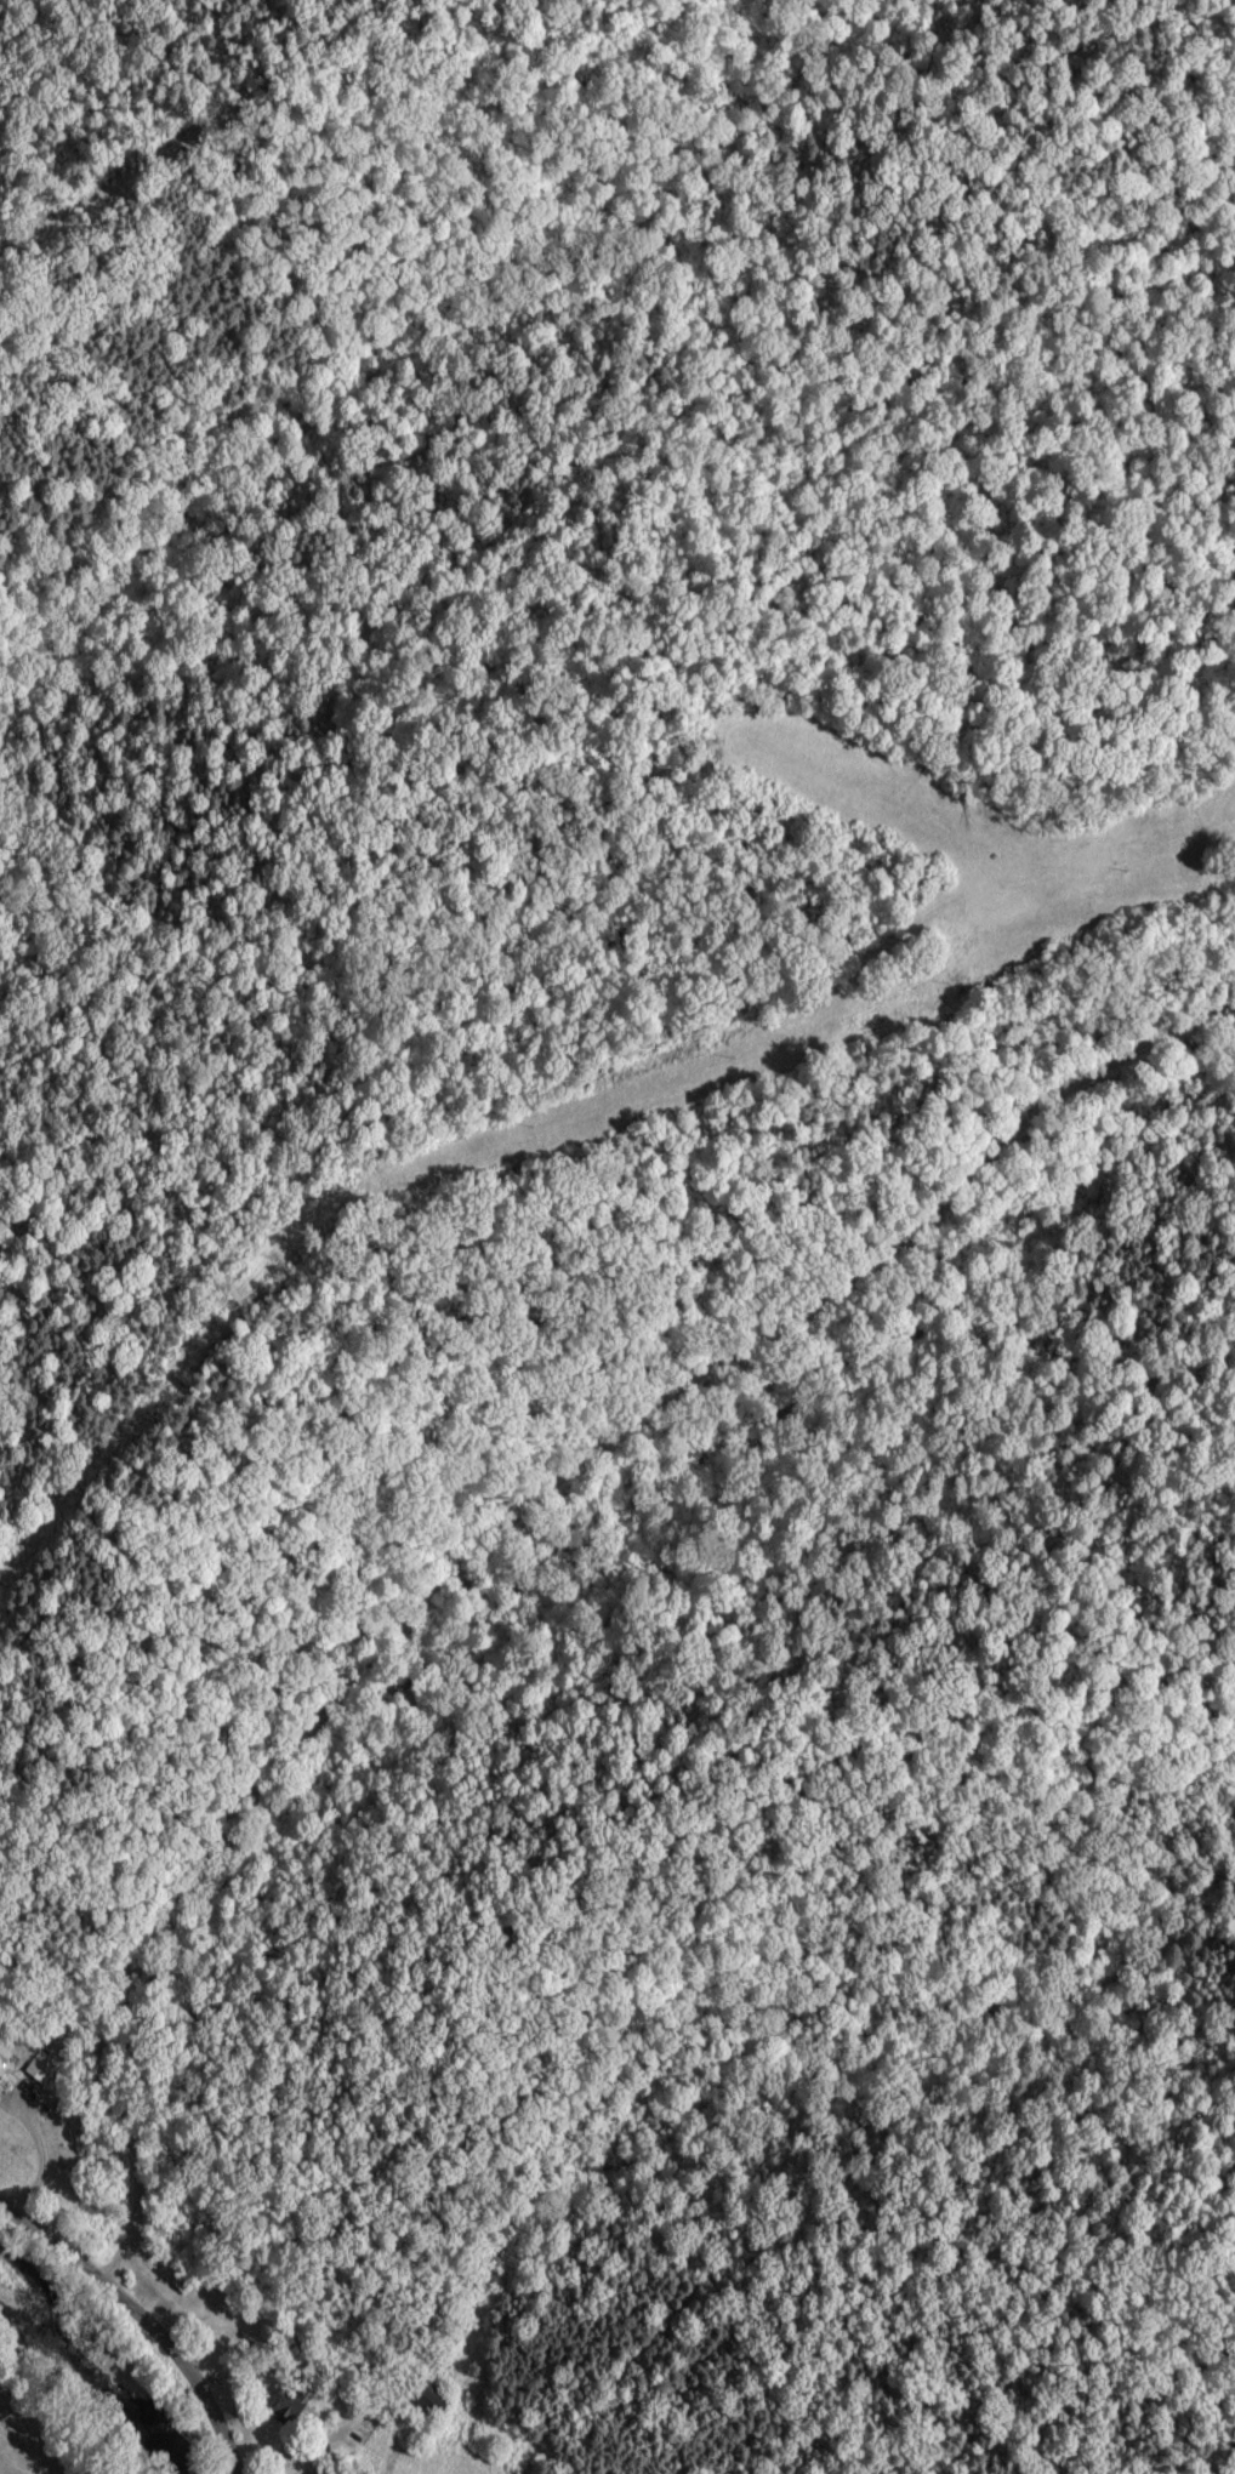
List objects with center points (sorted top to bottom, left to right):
road: (514, 1543)
building: (4, 2060)
building: (36, 2068)
road: (142, 2328)
river: (106, 2370)

